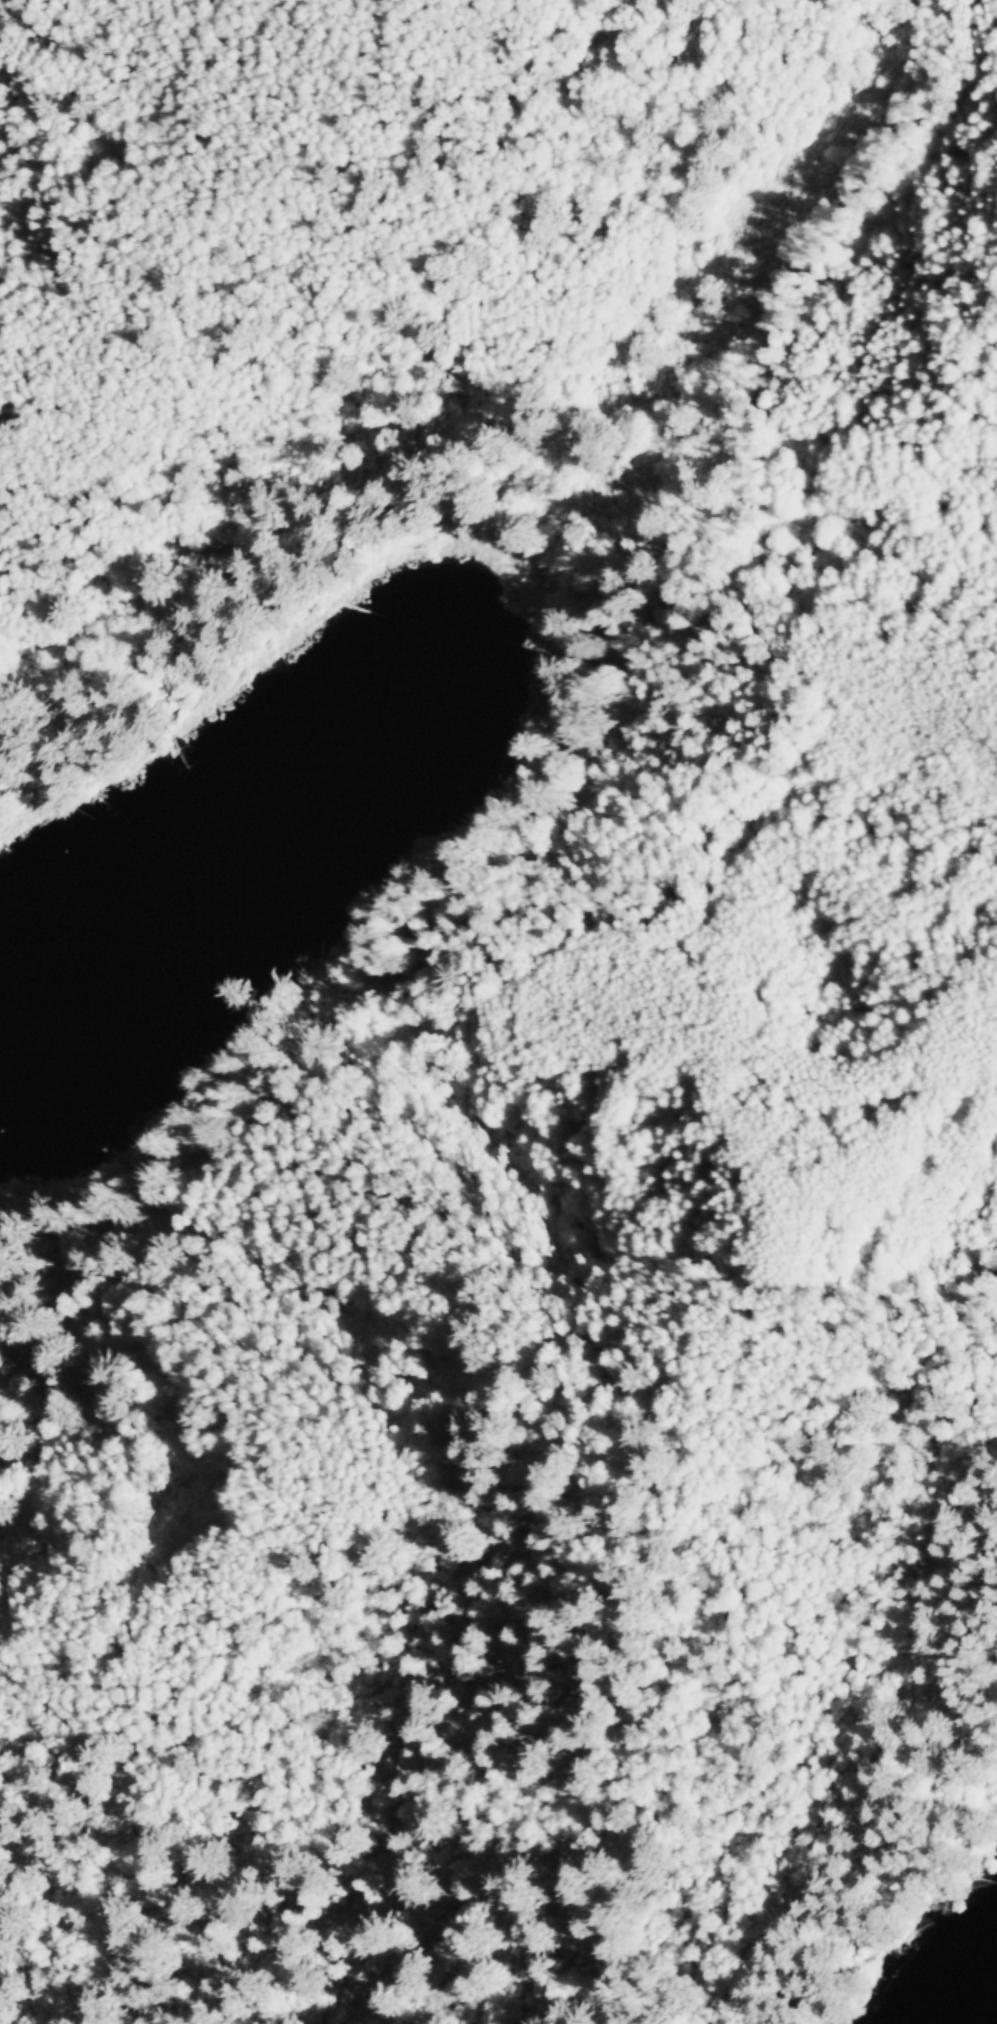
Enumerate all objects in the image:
road: (904, 1876)

